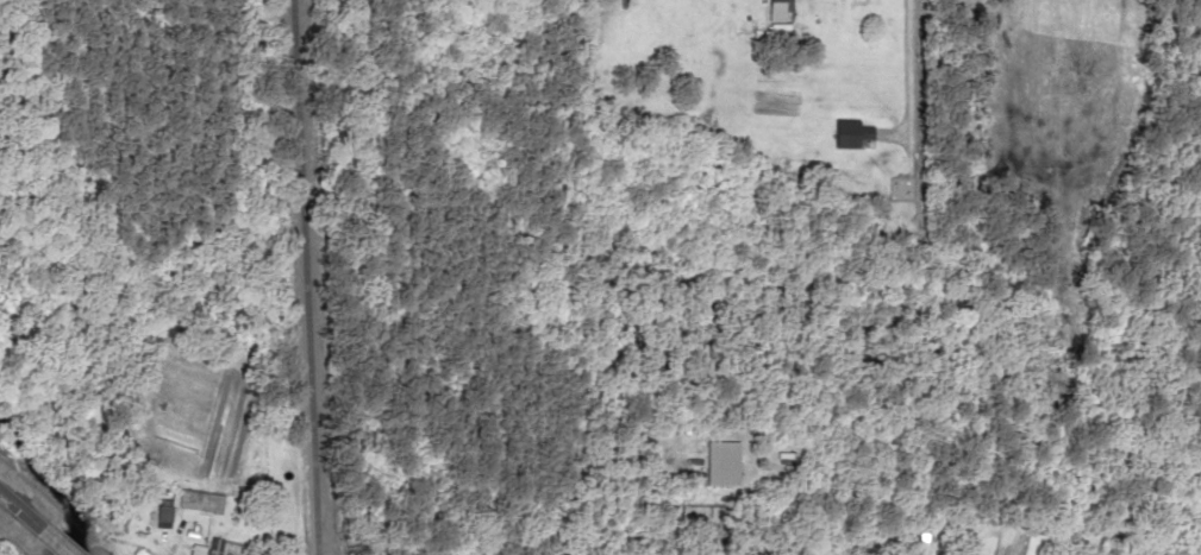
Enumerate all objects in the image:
building: (780, 11)
road: (896, 64)
building: (847, 132)
railway: (312, 277)
building: (718, 462)
river: (50, 475)
building: (200, 500)
road: (19, 517)
road: (50, 544)
building: (229, 548)

